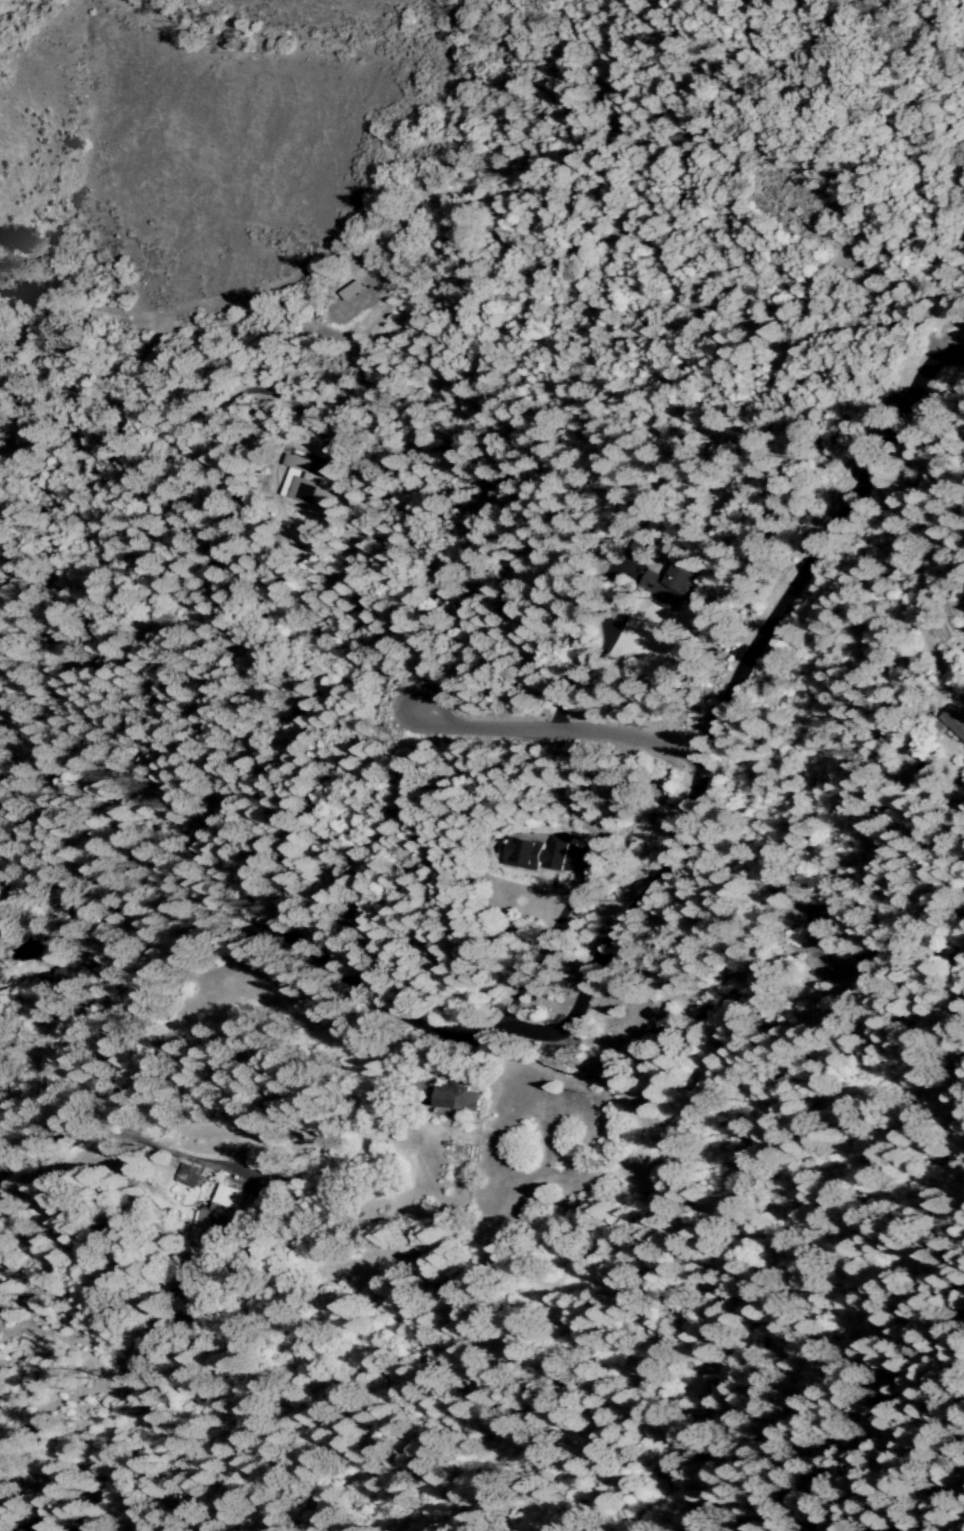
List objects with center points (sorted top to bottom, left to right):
road: (776, 54)
road: (761, 174)
road: (371, 236)
road: (732, 318)
road: (204, 396)
road: (369, 441)
building: (305, 486)
building: (636, 549)
road: (467, 568)
building: (665, 584)
road: (604, 651)
road: (557, 729)
road: (290, 758)
building: (532, 855)
road: (592, 978)
building: (455, 1098)
building: (186, 1175)
building: (224, 1209)
building: (41, 1530)

